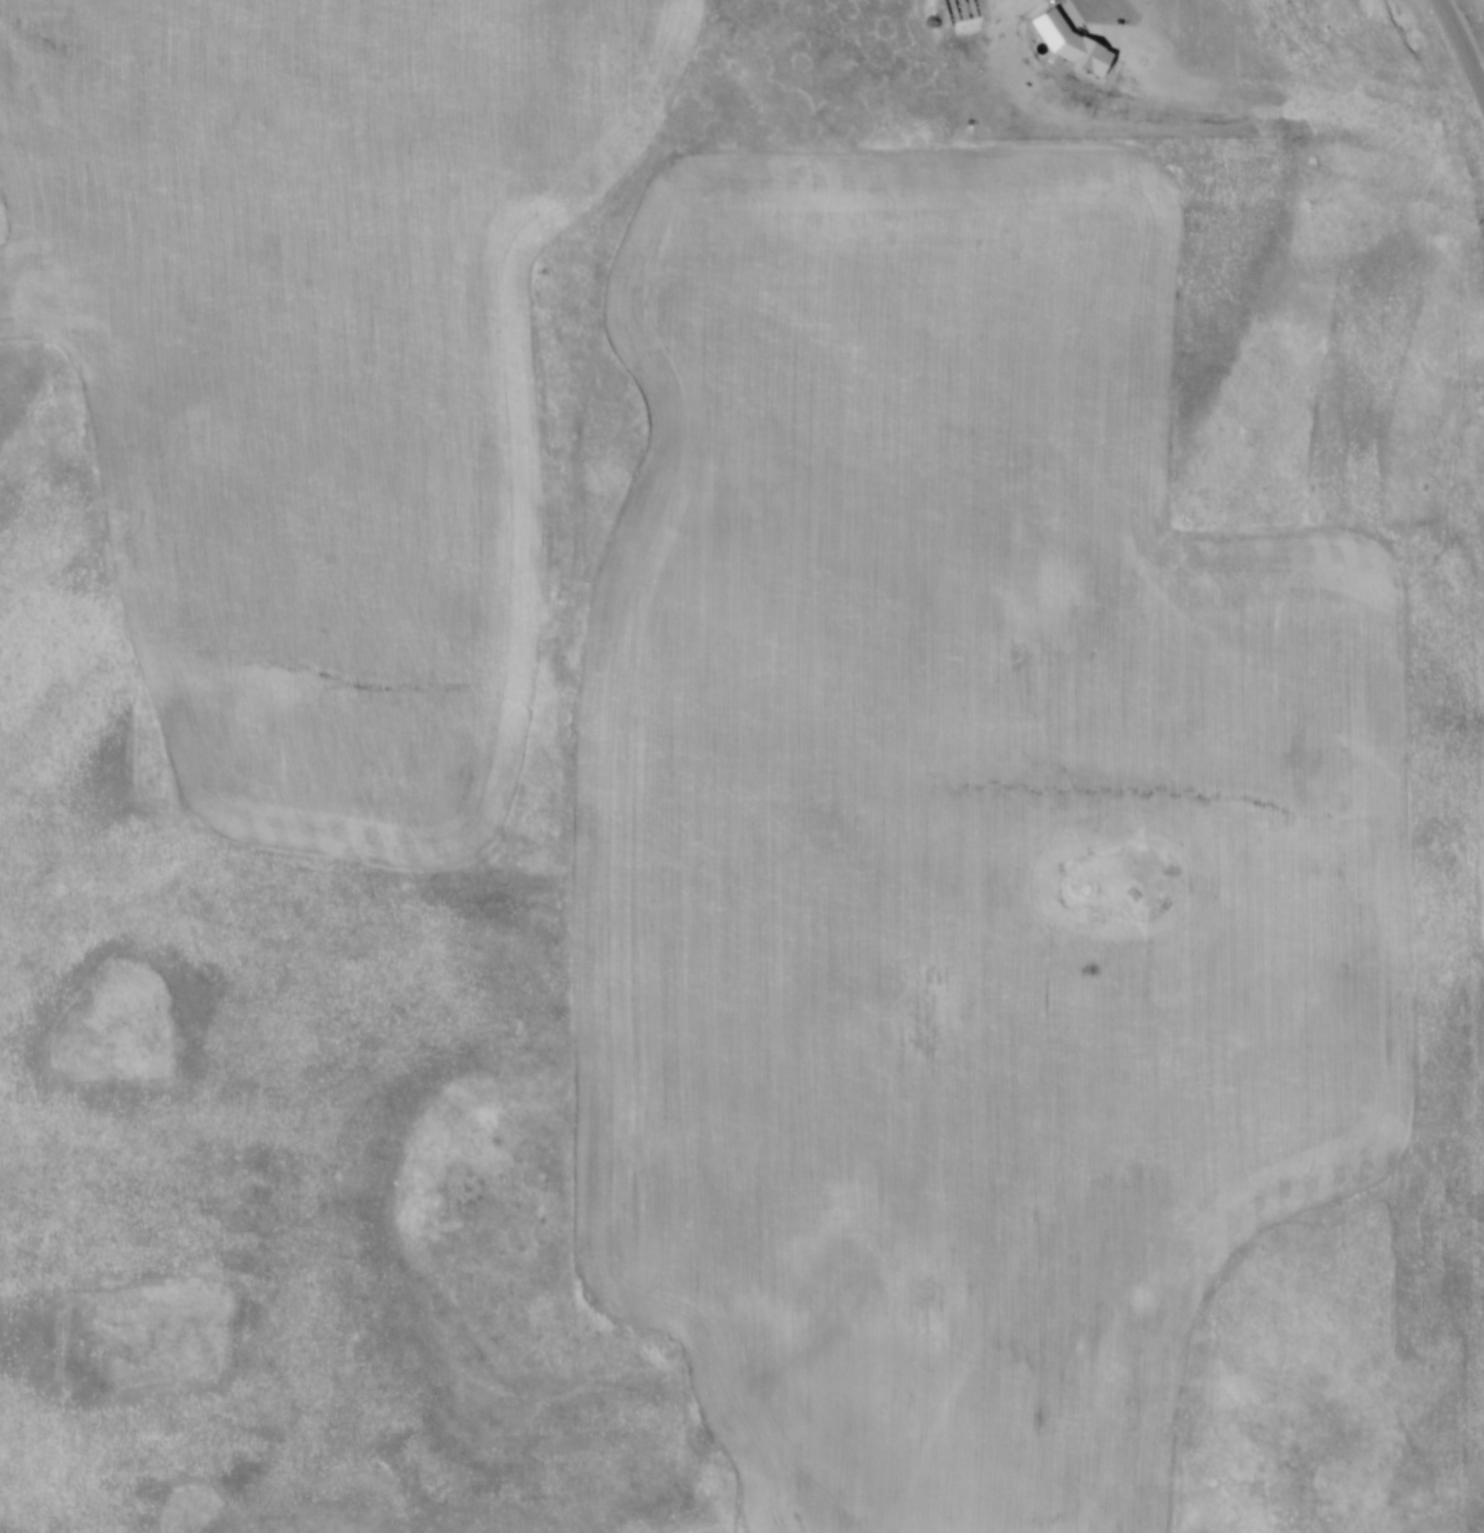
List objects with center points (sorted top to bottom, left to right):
road: (1464, 44)

